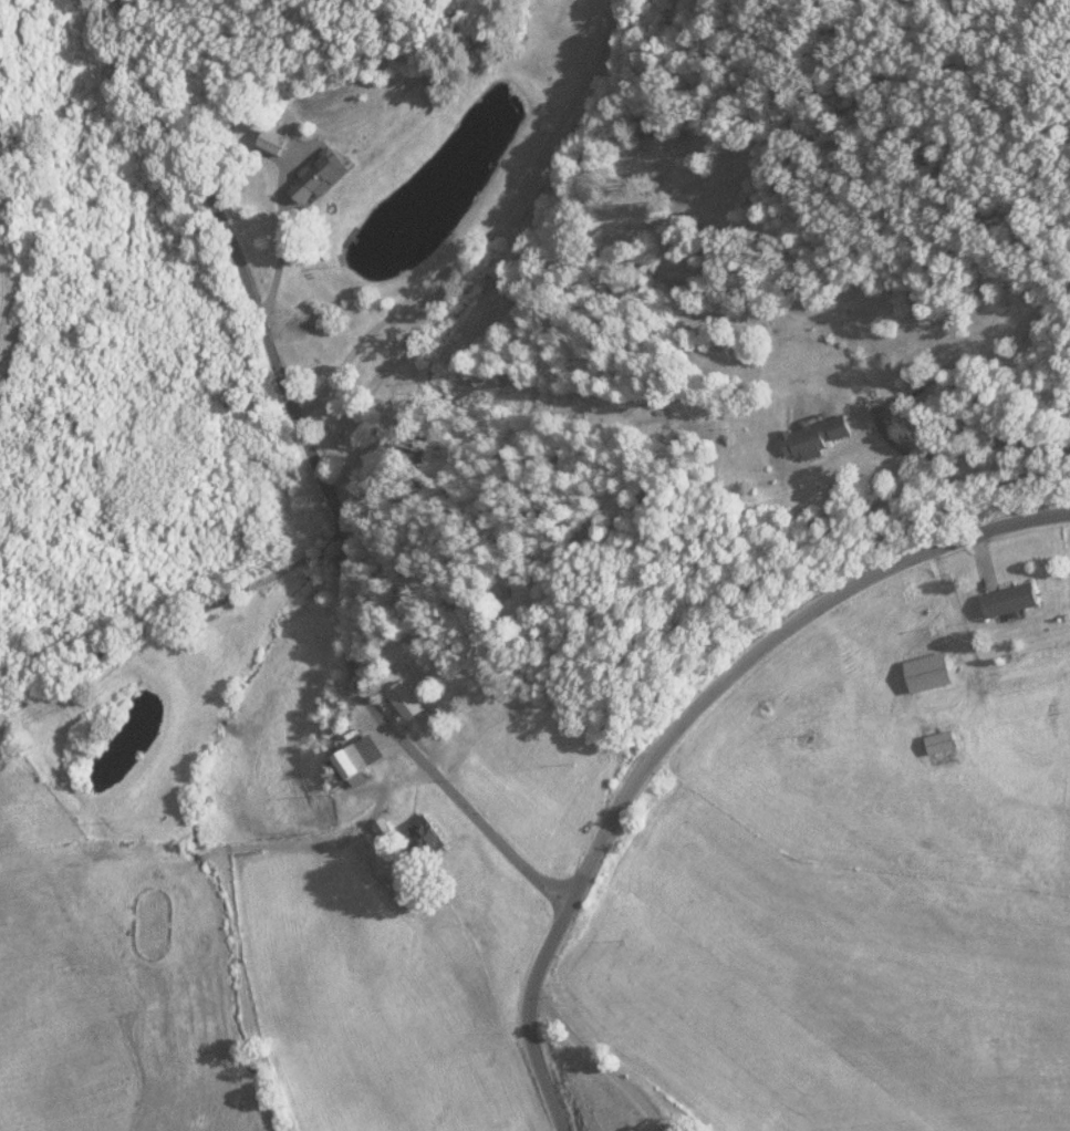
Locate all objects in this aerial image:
building: (315, 177)
road: (487, 235)
building: (383, 367)
building: (813, 438)
road: (964, 445)
road: (319, 476)
building: (1008, 602)
building: (926, 675)
road: (677, 723)
building: (0, 724)
building: (938, 745)
building: (352, 765)
building: (422, 839)
road: (596, 1059)

